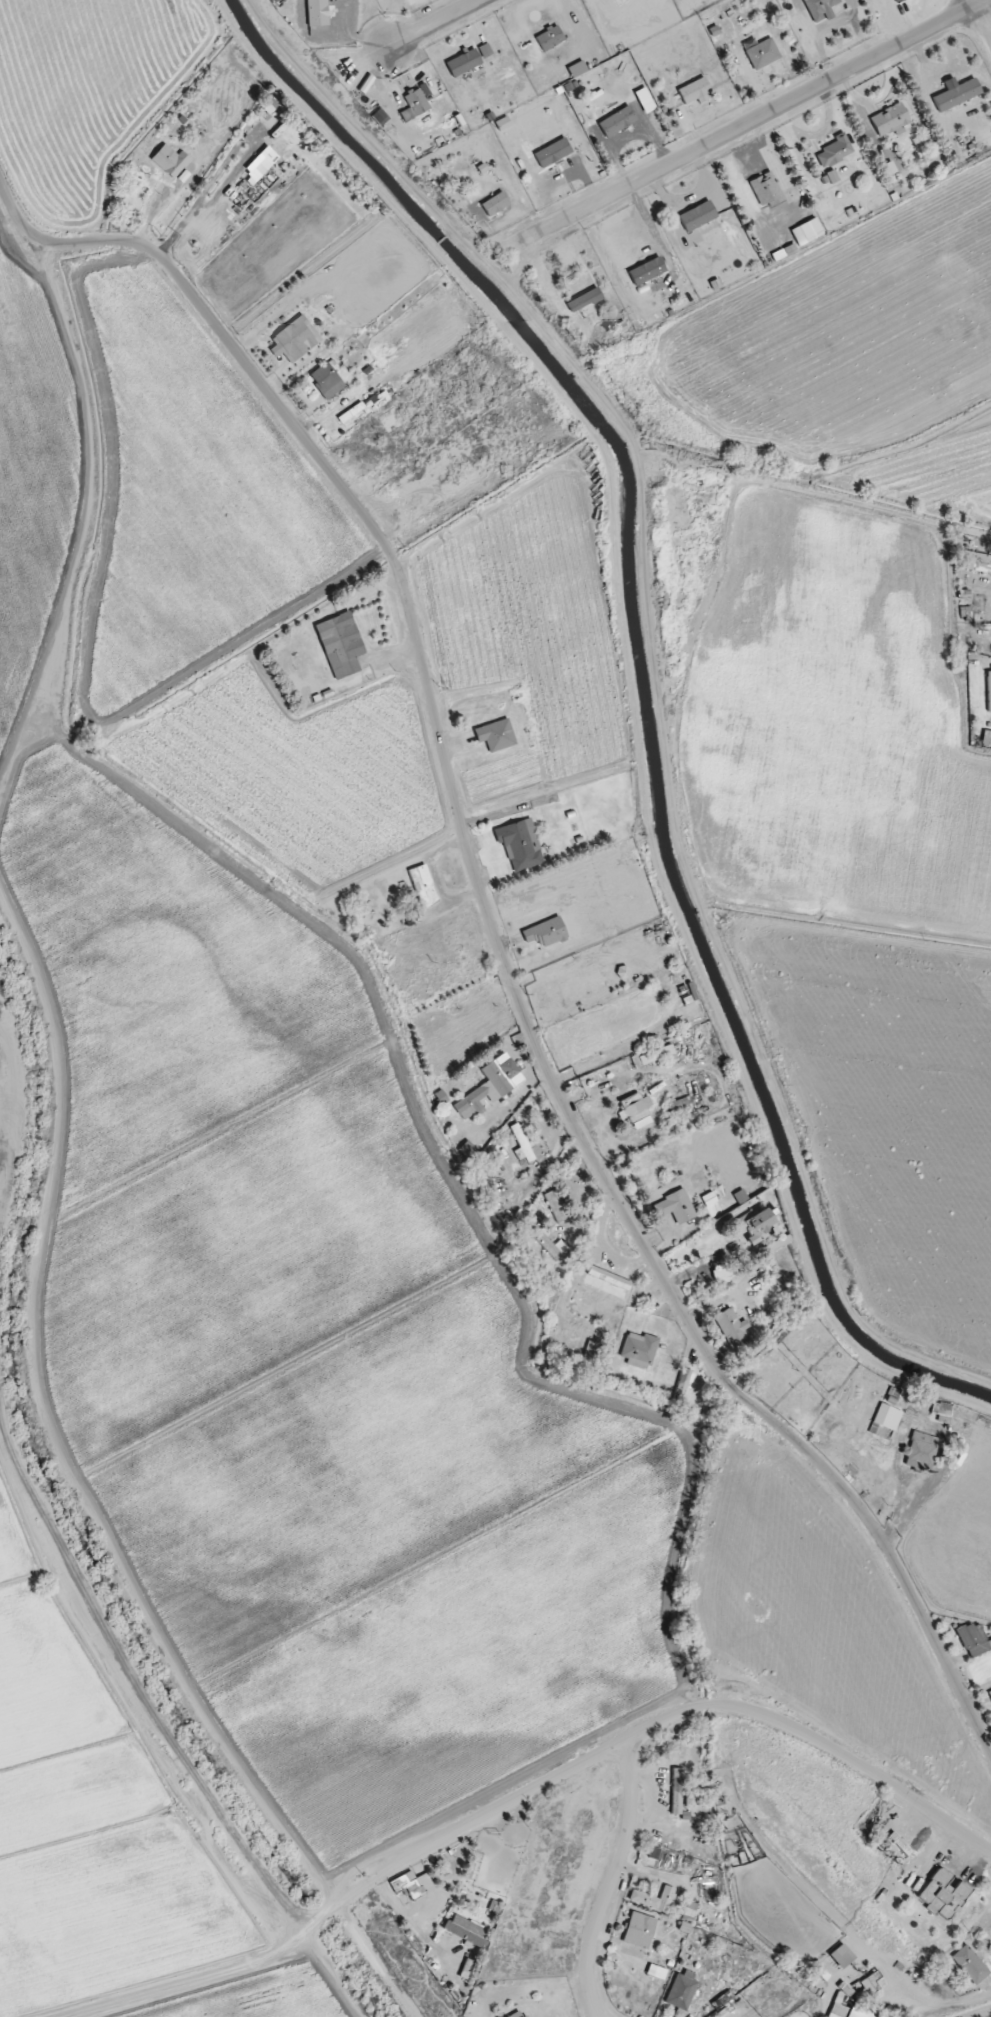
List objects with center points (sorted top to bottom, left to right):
building: (897, 0)
road: (974, 3)
building: (820, 9)
road: (983, 20)
road: (431, 23)
building: (550, 38)
building: (485, 50)
building: (761, 52)
building: (463, 62)
building: (694, 91)
building: (956, 93)
building: (416, 101)
building: (890, 119)
building: (617, 121)
road: (745, 125)
building: (835, 151)
building: (553, 152)
building: (170, 160)
building: (263, 164)
building: (767, 189)
building: (495, 204)
building: (698, 216)
building: (807, 231)
road: (11, 245)
building: (647, 271)
building: (584, 300)
building: (295, 339)
building: (327, 380)
building: (366, 405)
building: (977, 562)
building: (341, 644)
building: (989, 691)
building: (496, 735)
building: (986, 737)
building: (520, 845)
building: (423, 885)
road: (494, 930)
building: (546, 932)
building: (650, 1056)
building: (490, 1086)
building: (637, 1110)
road: (4, 1137)
building: (522, 1137)
building: (555, 1206)
building: (675, 1207)
building: (753, 1225)
building: (543, 1240)
building: (774, 1246)
building: (722, 1274)
building: (607, 1282)
building: (735, 1327)
building: (638, 1350)
building: (590, 1353)
building: (942, 1411)
building: (885, 1421)
building: (921, 1452)
building: (974, 1639)
road: (131, 1681)
building: (989, 1694)
road: (643, 1734)
building: (676, 1791)
building: (413, 1884)
road: (610, 1884)
building: (944, 1892)
building: (654, 1899)
building: (466, 1930)
building: (640, 1930)
building: (841, 1956)
building: (970, 1964)
building: (870, 1983)
building: (681, 1992)
building: (849, 2010)

